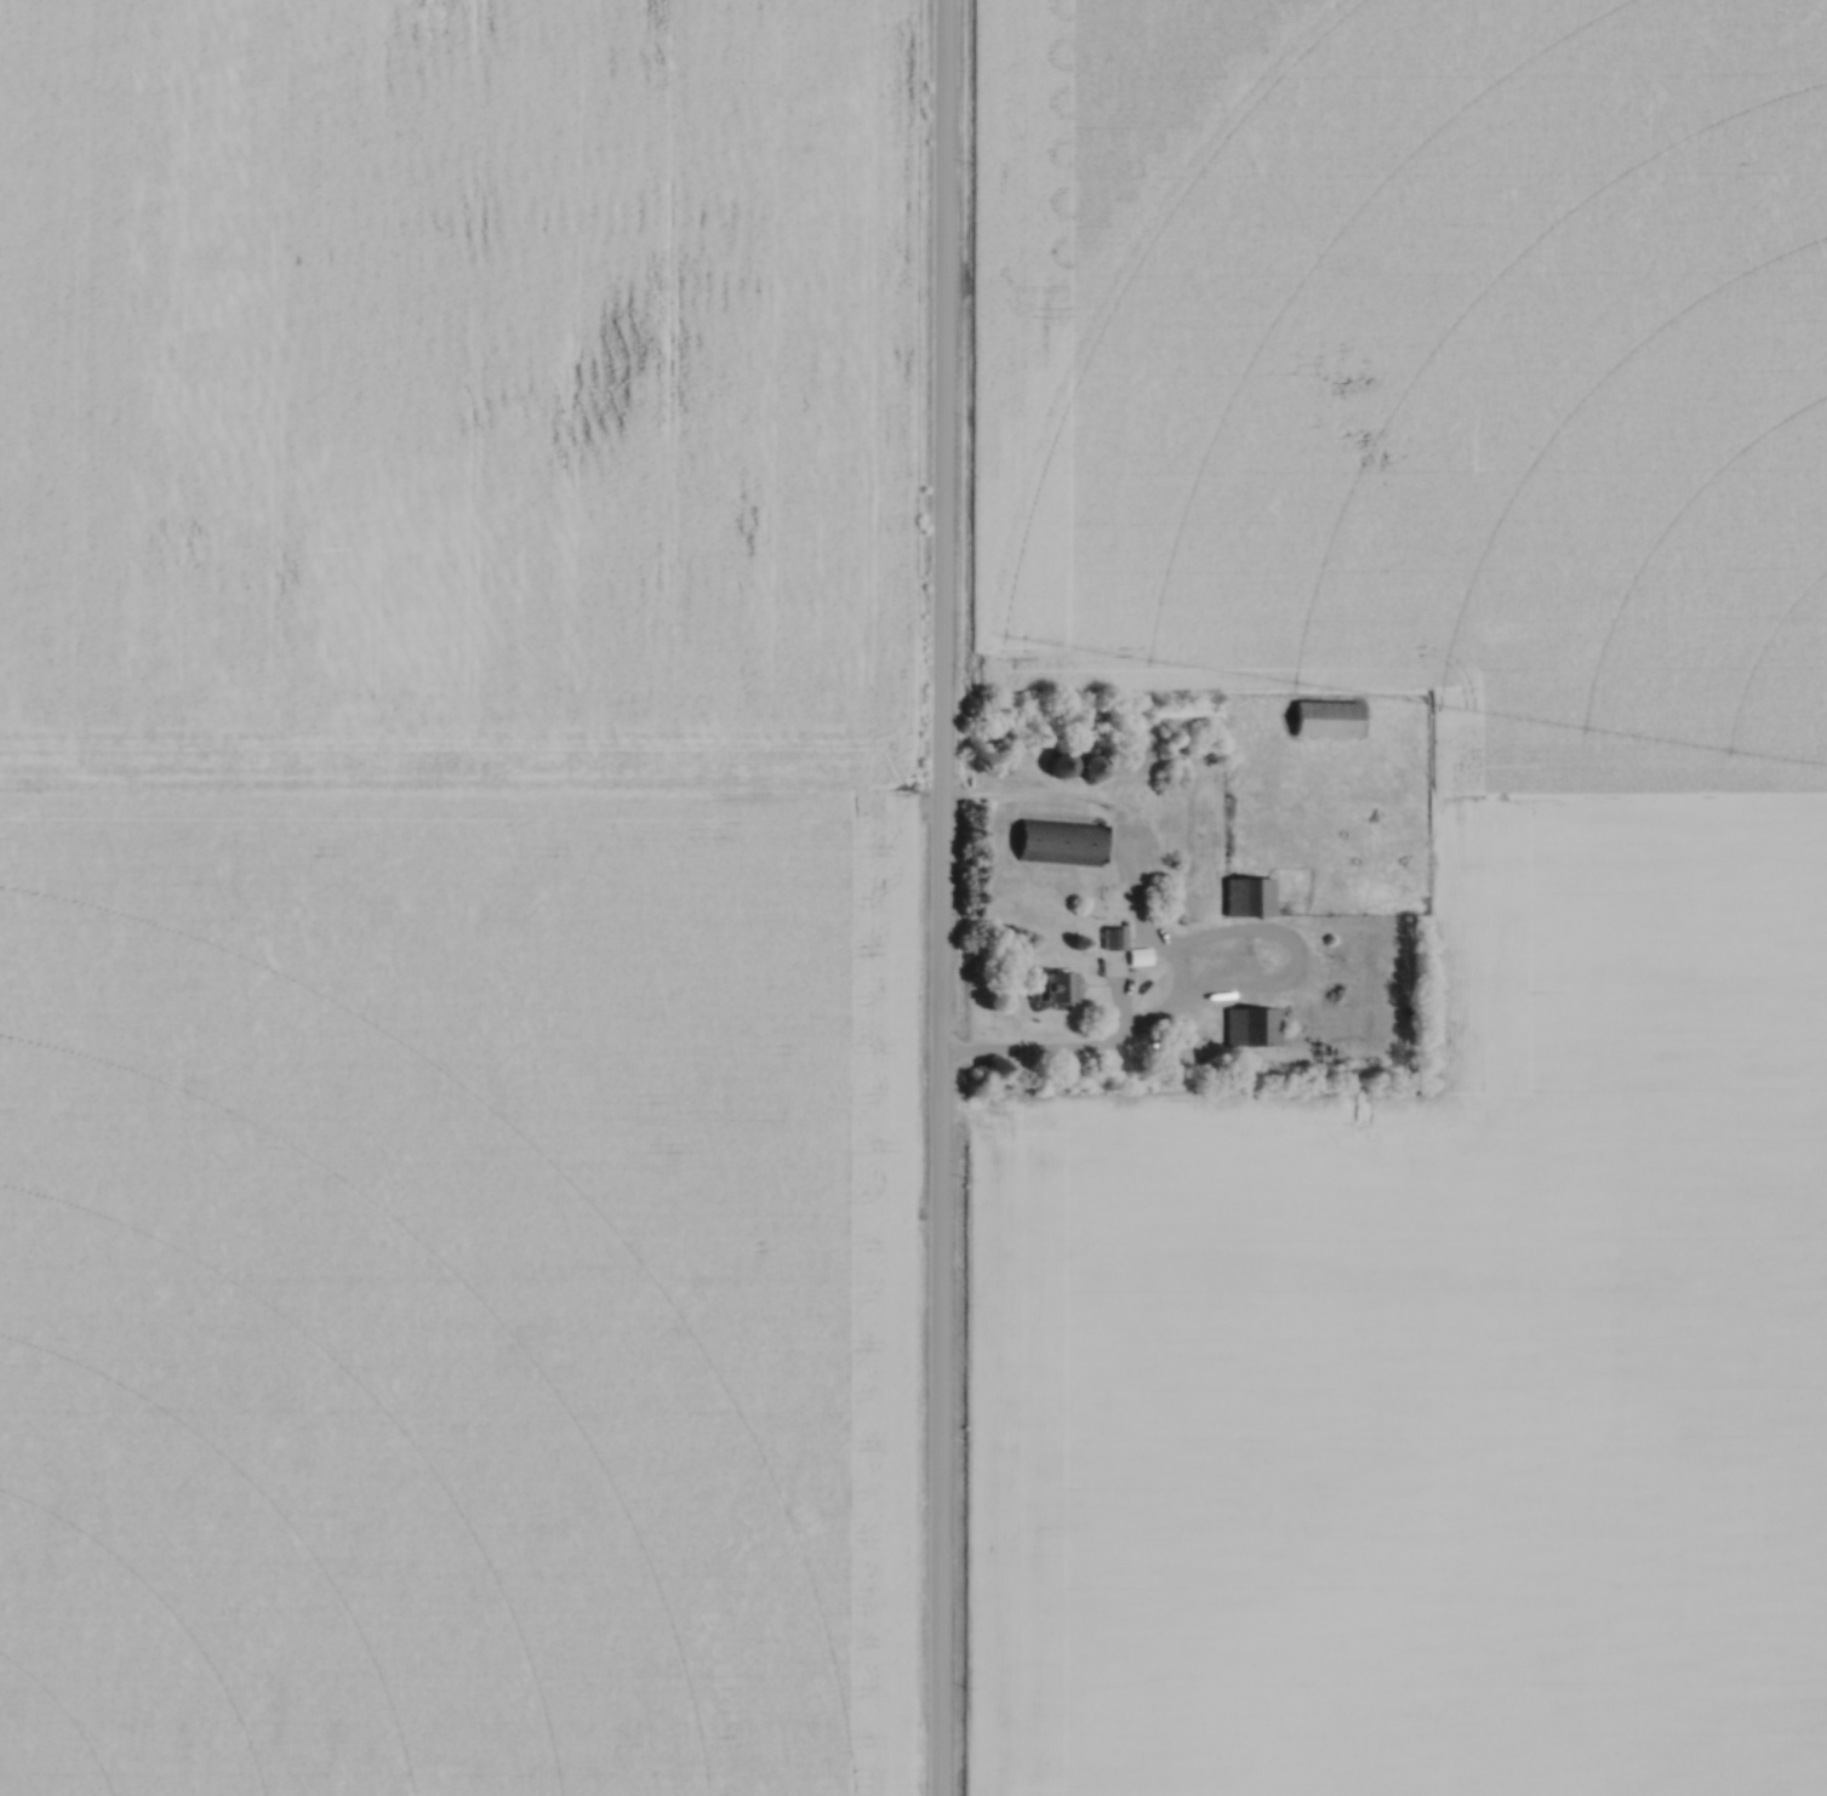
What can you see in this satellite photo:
building: (1325, 719)
building: (1060, 766)
building: (1092, 767)
building: (1057, 842)
building: (1246, 897)
road: (938, 898)
building: (1112, 938)
building: (1050, 988)
building: (1250, 1028)
road: (1047, 1056)

